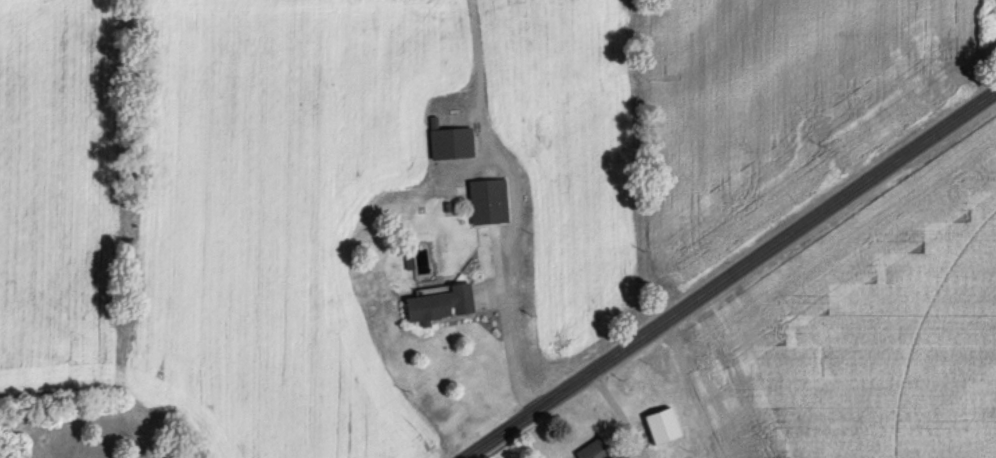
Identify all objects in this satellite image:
building: (450, 144)
building: (486, 202)
road: (728, 276)
building: (438, 305)
road: (502, 330)
road: (614, 413)
building: (591, 451)

